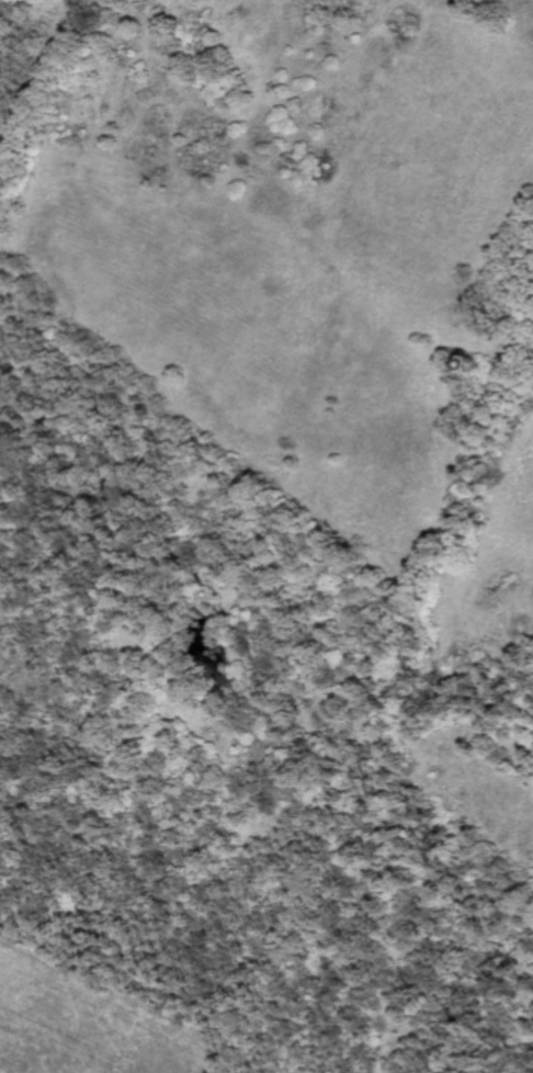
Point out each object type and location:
building: (475, 362)
silo: (475, 362)

